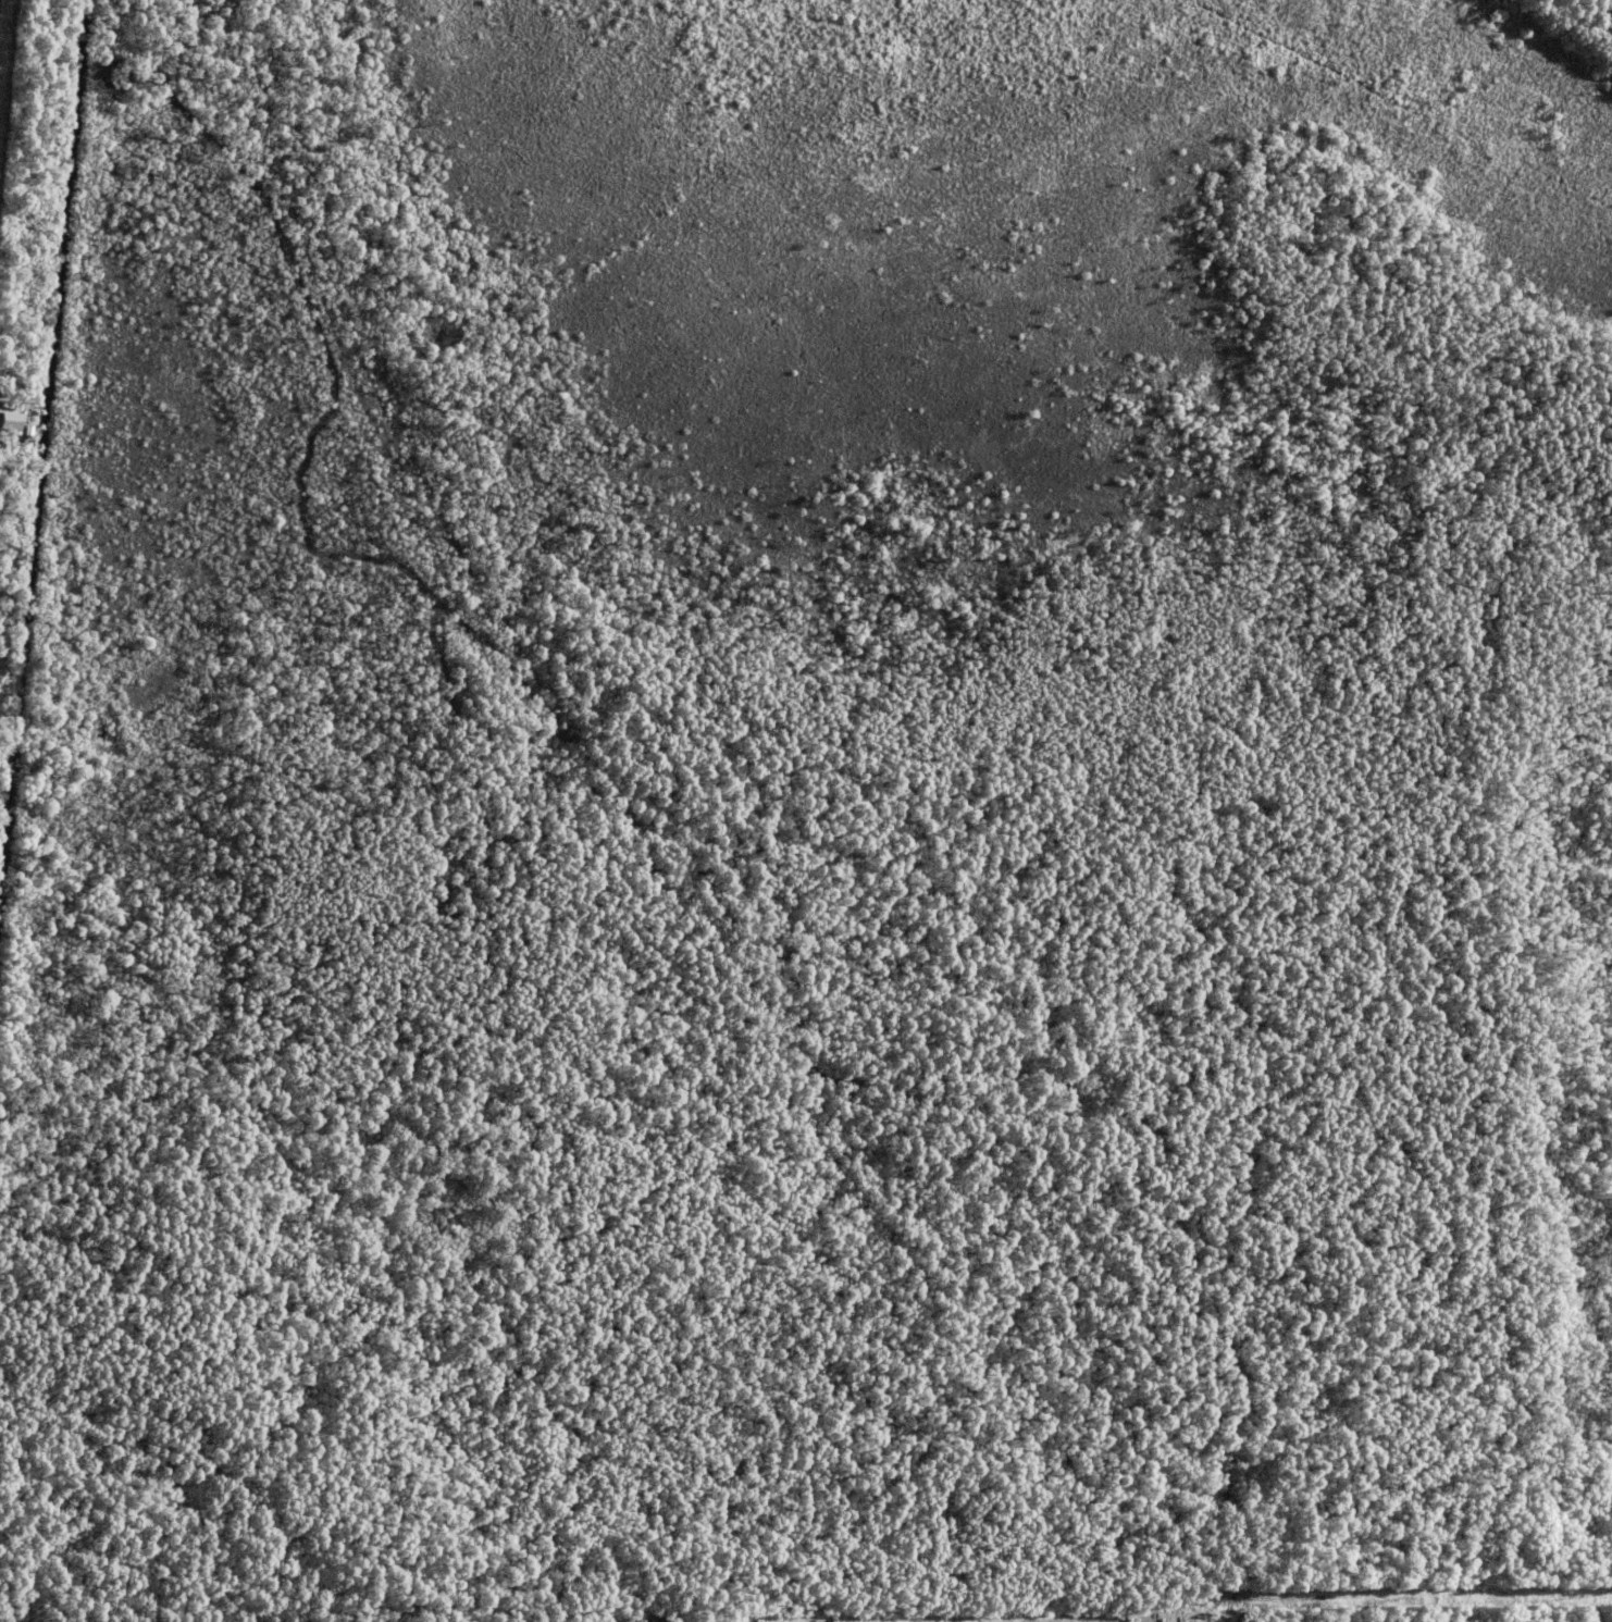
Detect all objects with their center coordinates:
building: (13, 421)

